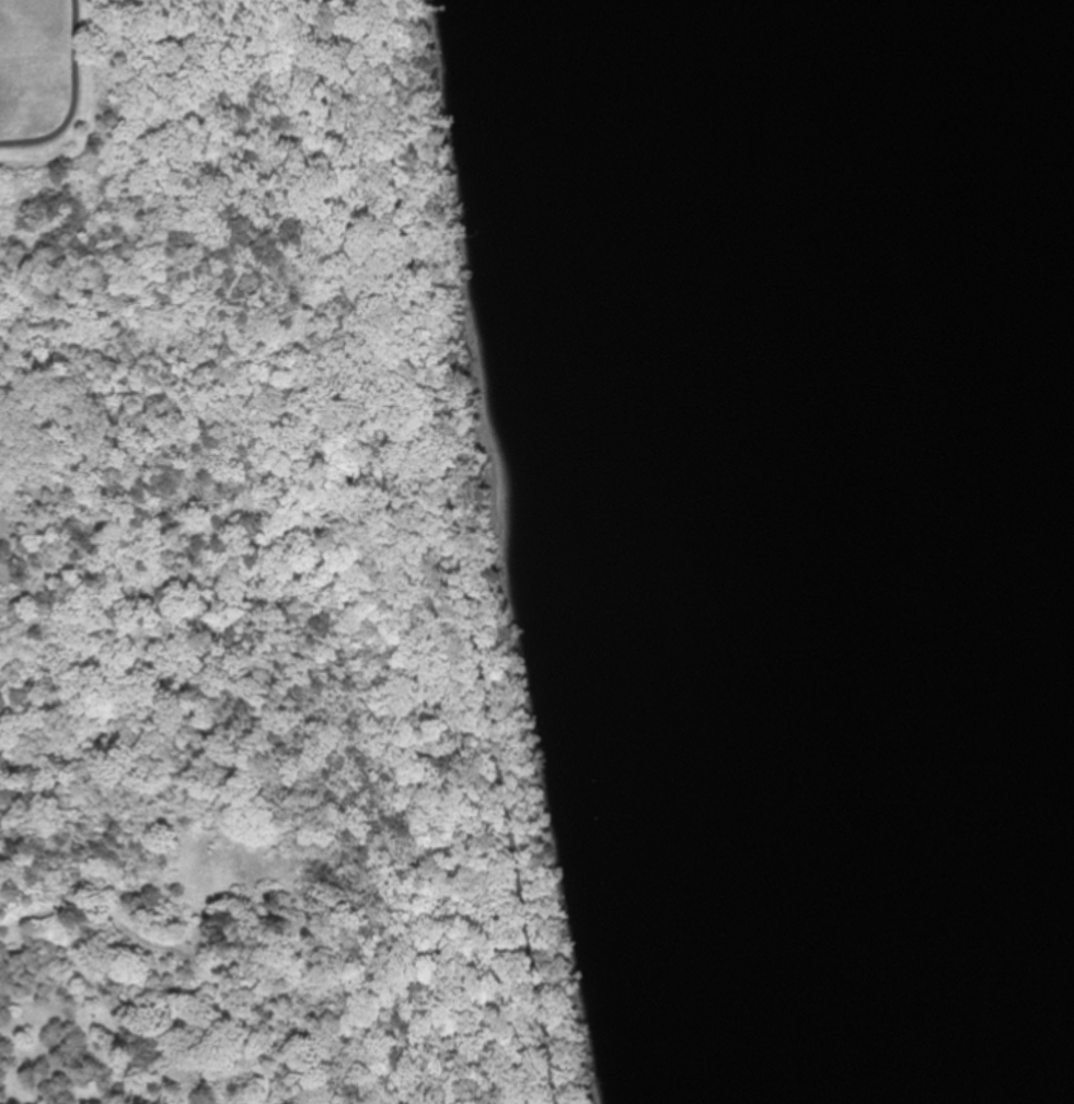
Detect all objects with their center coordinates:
road: (74, 103)
road: (94, 118)
road: (463, 551)
park: (261, 579)
road: (180, 948)

